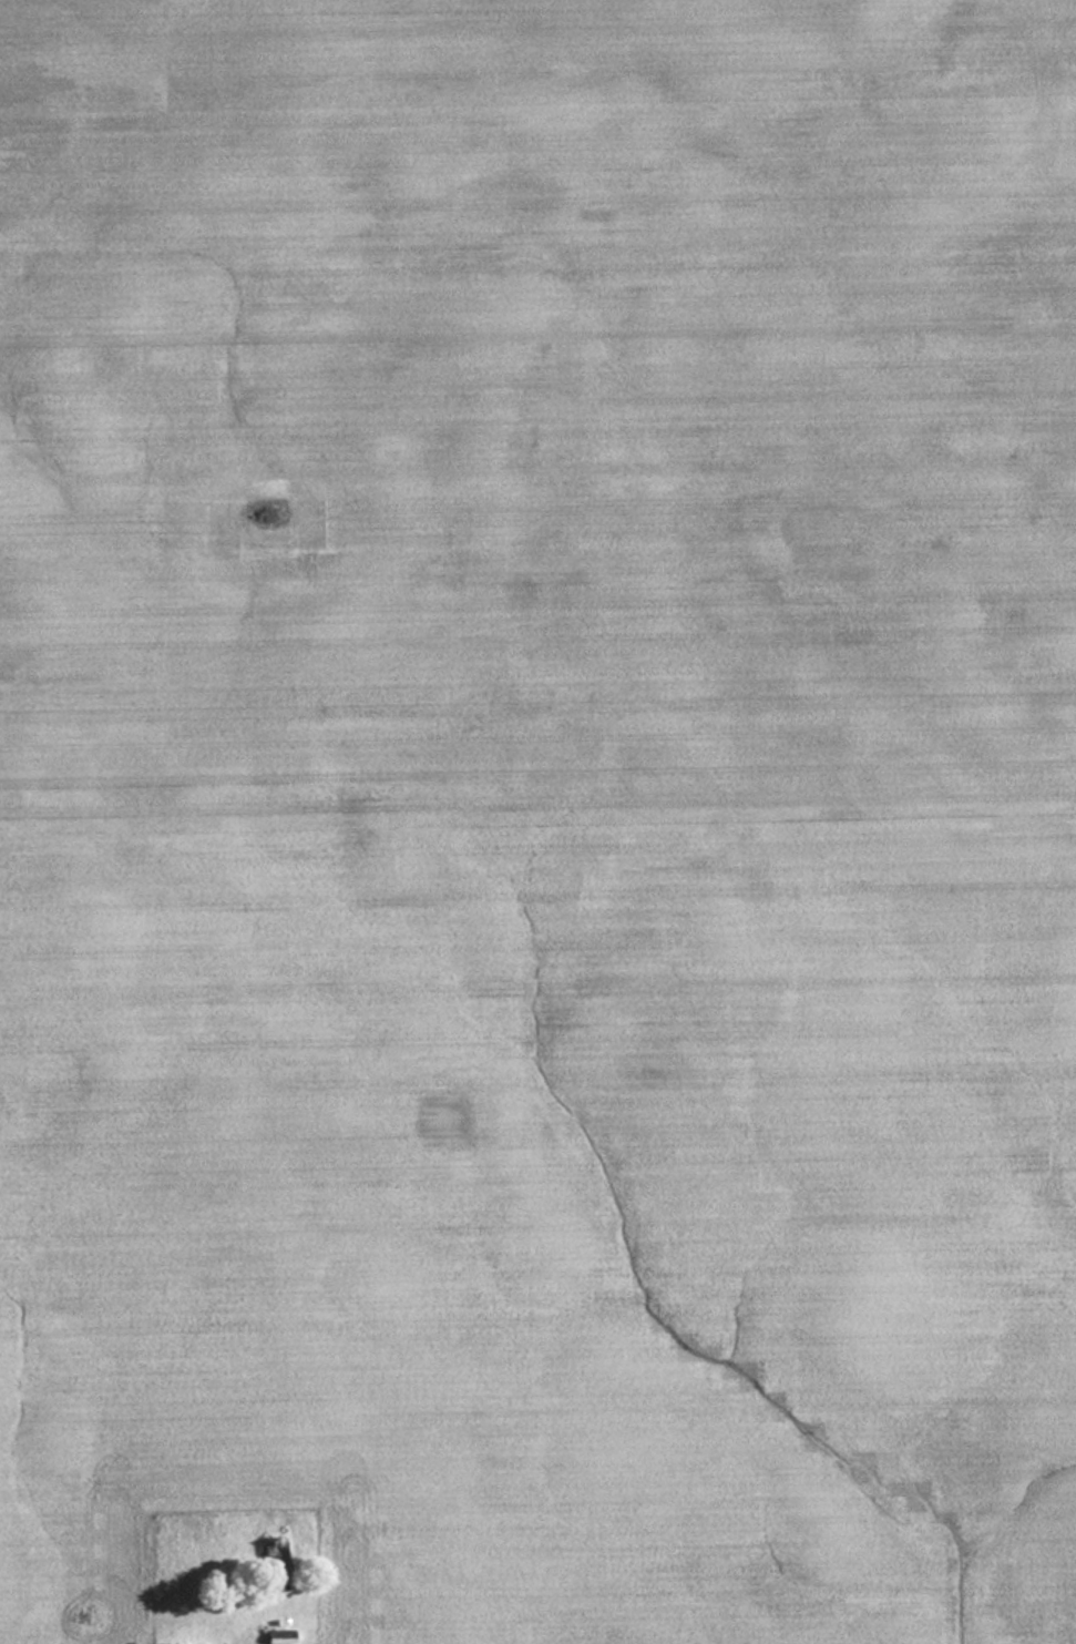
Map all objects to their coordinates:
building: (270, 1555)

